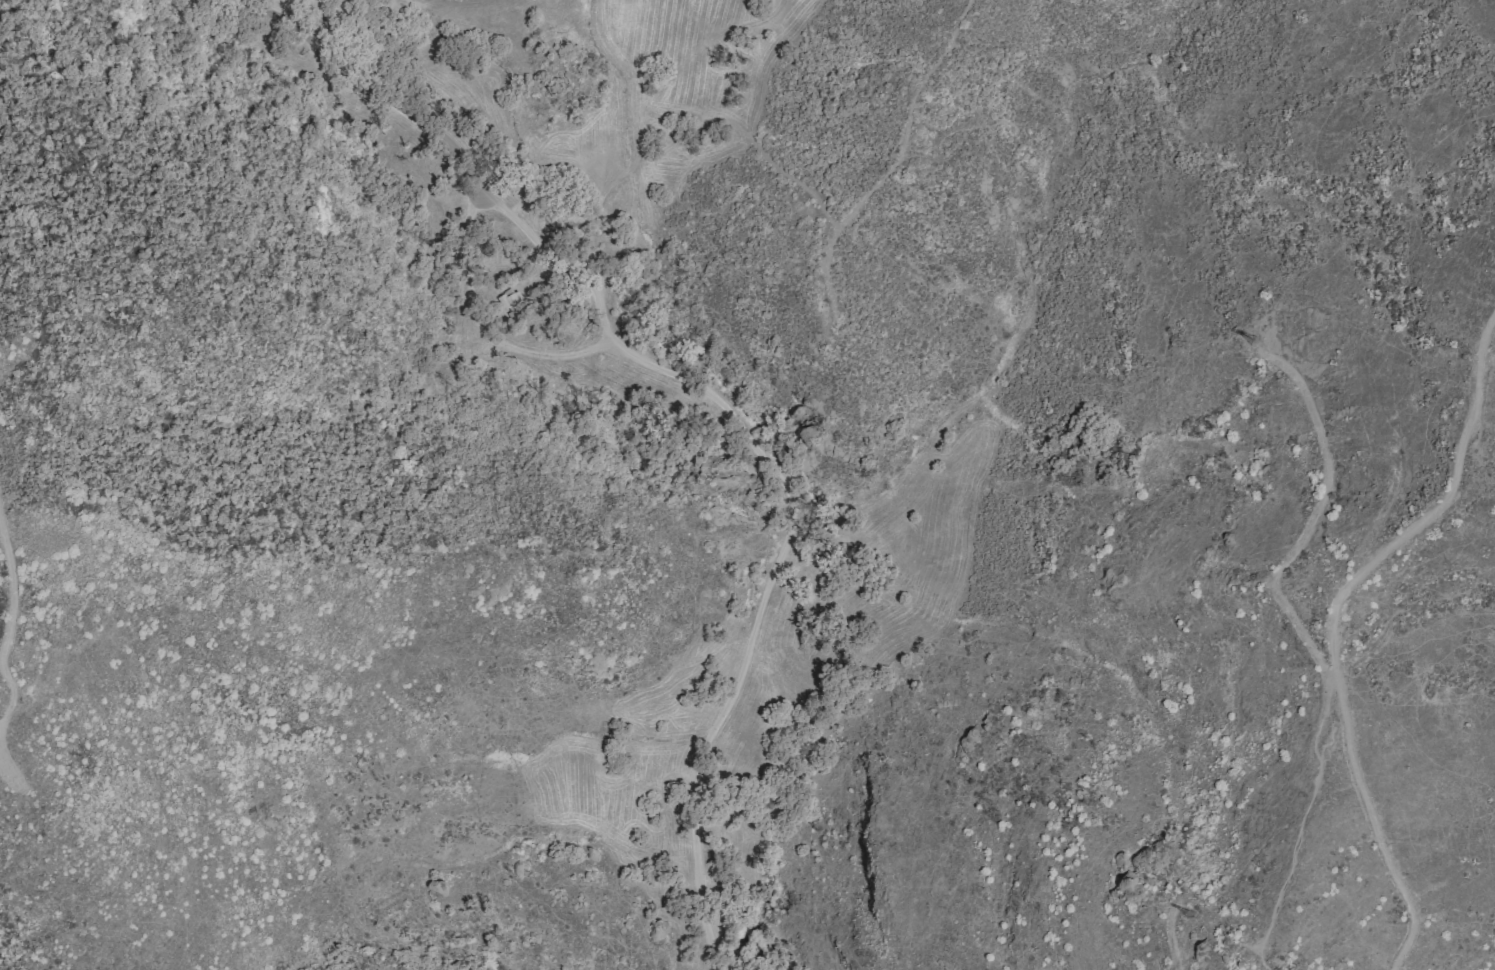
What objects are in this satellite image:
road: (626, 61)
road: (646, 111)
road: (907, 118)
road: (776, 167)
building: (514, 304)
power tower: (1252, 341)
road: (706, 390)
road: (1308, 527)
road: (1333, 622)
power tower: (1198, 917)
road: (1173, 937)

